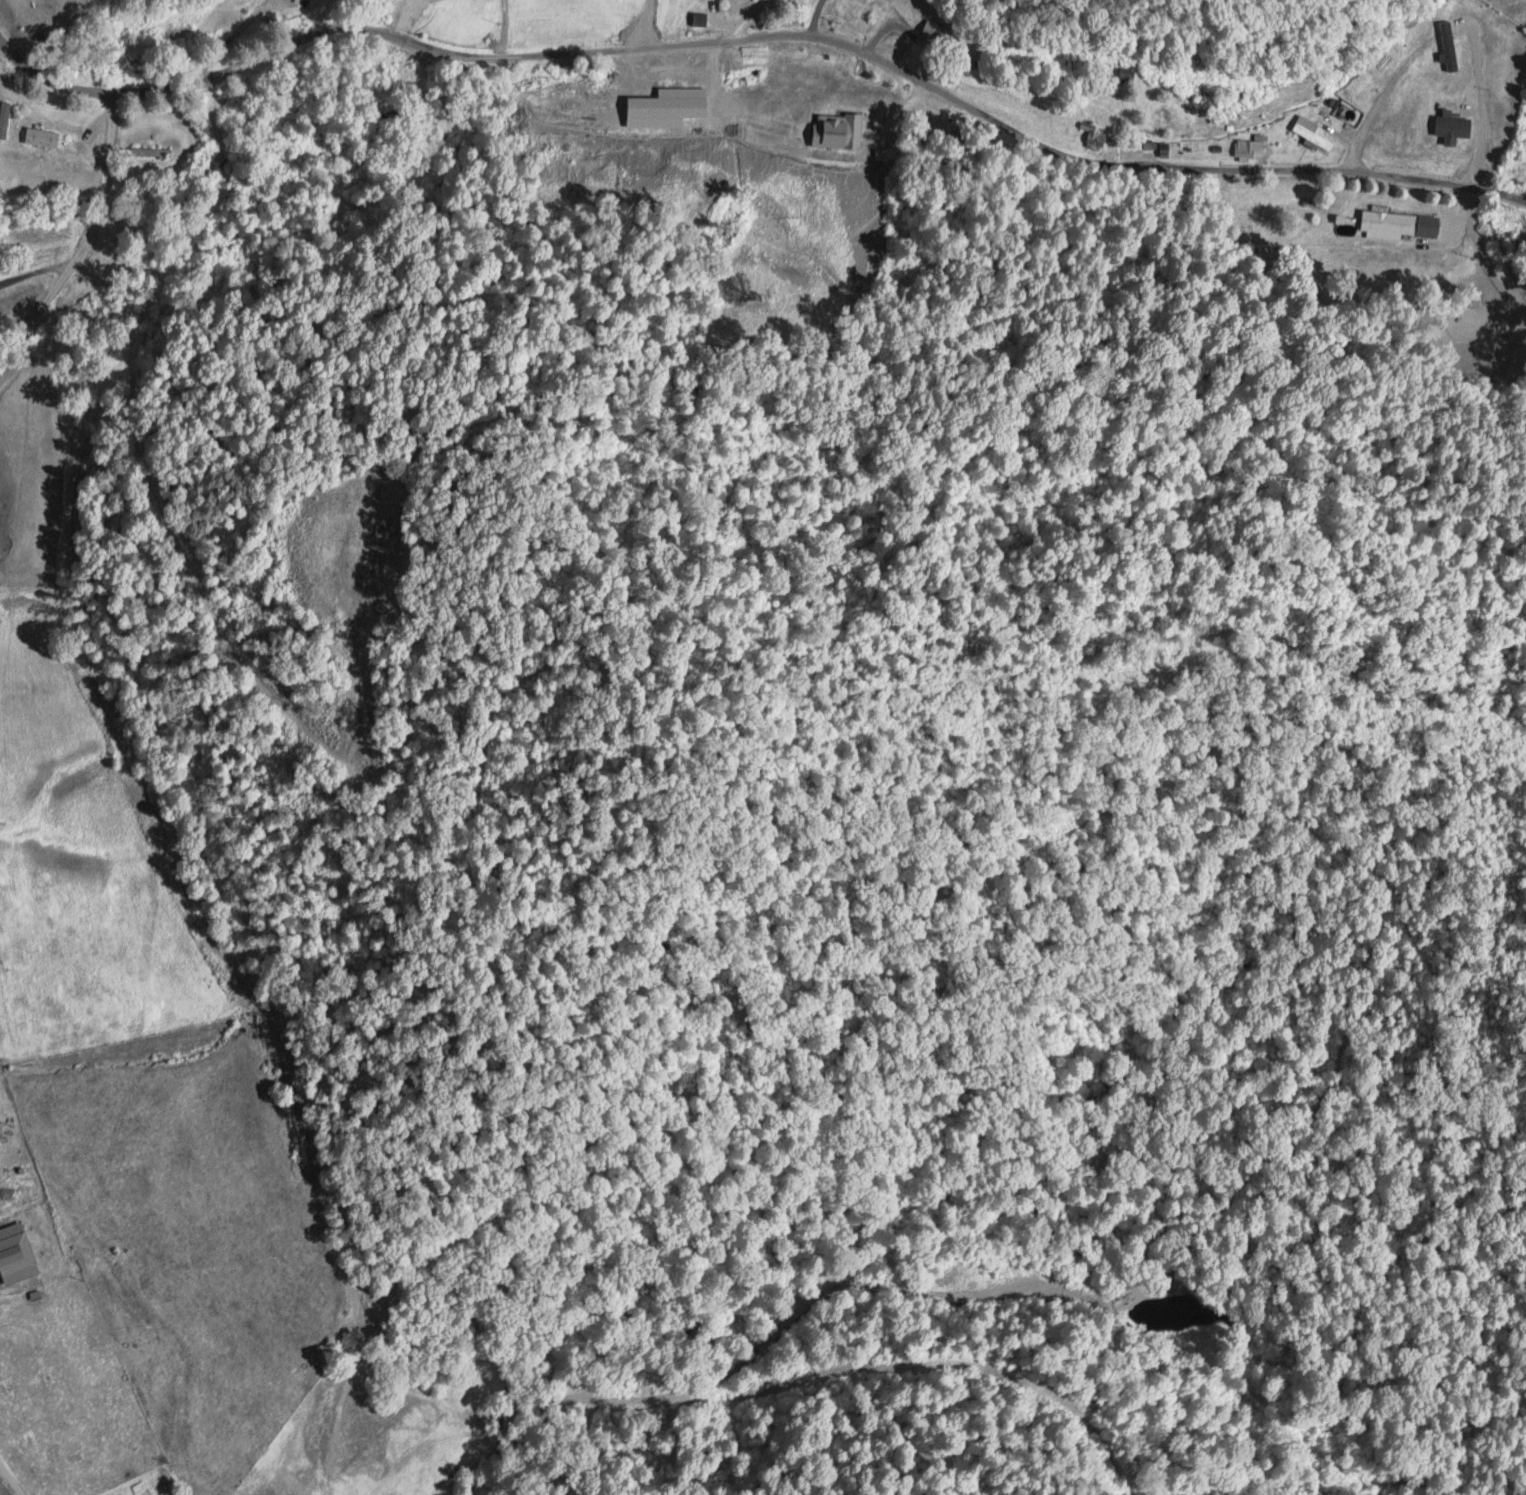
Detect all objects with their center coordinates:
building: (300, 0)
building: (884, 0)
building: (1425, 28)
building: (932, 32)
road: (759, 35)
building: (1124, 76)
building: (1368, 83)
building: (3, 119)
building: (1444, 122)
building: (835, 130)
building: (1308, 134)
building: (1091, 136)
building: (39, 137)
building: (1247, 148)
building: (149, 153)
building: (1397, 225)
road: (85, 236)
building: (13, 1200)
building: (46, 1214)
building: (26, 1238)

